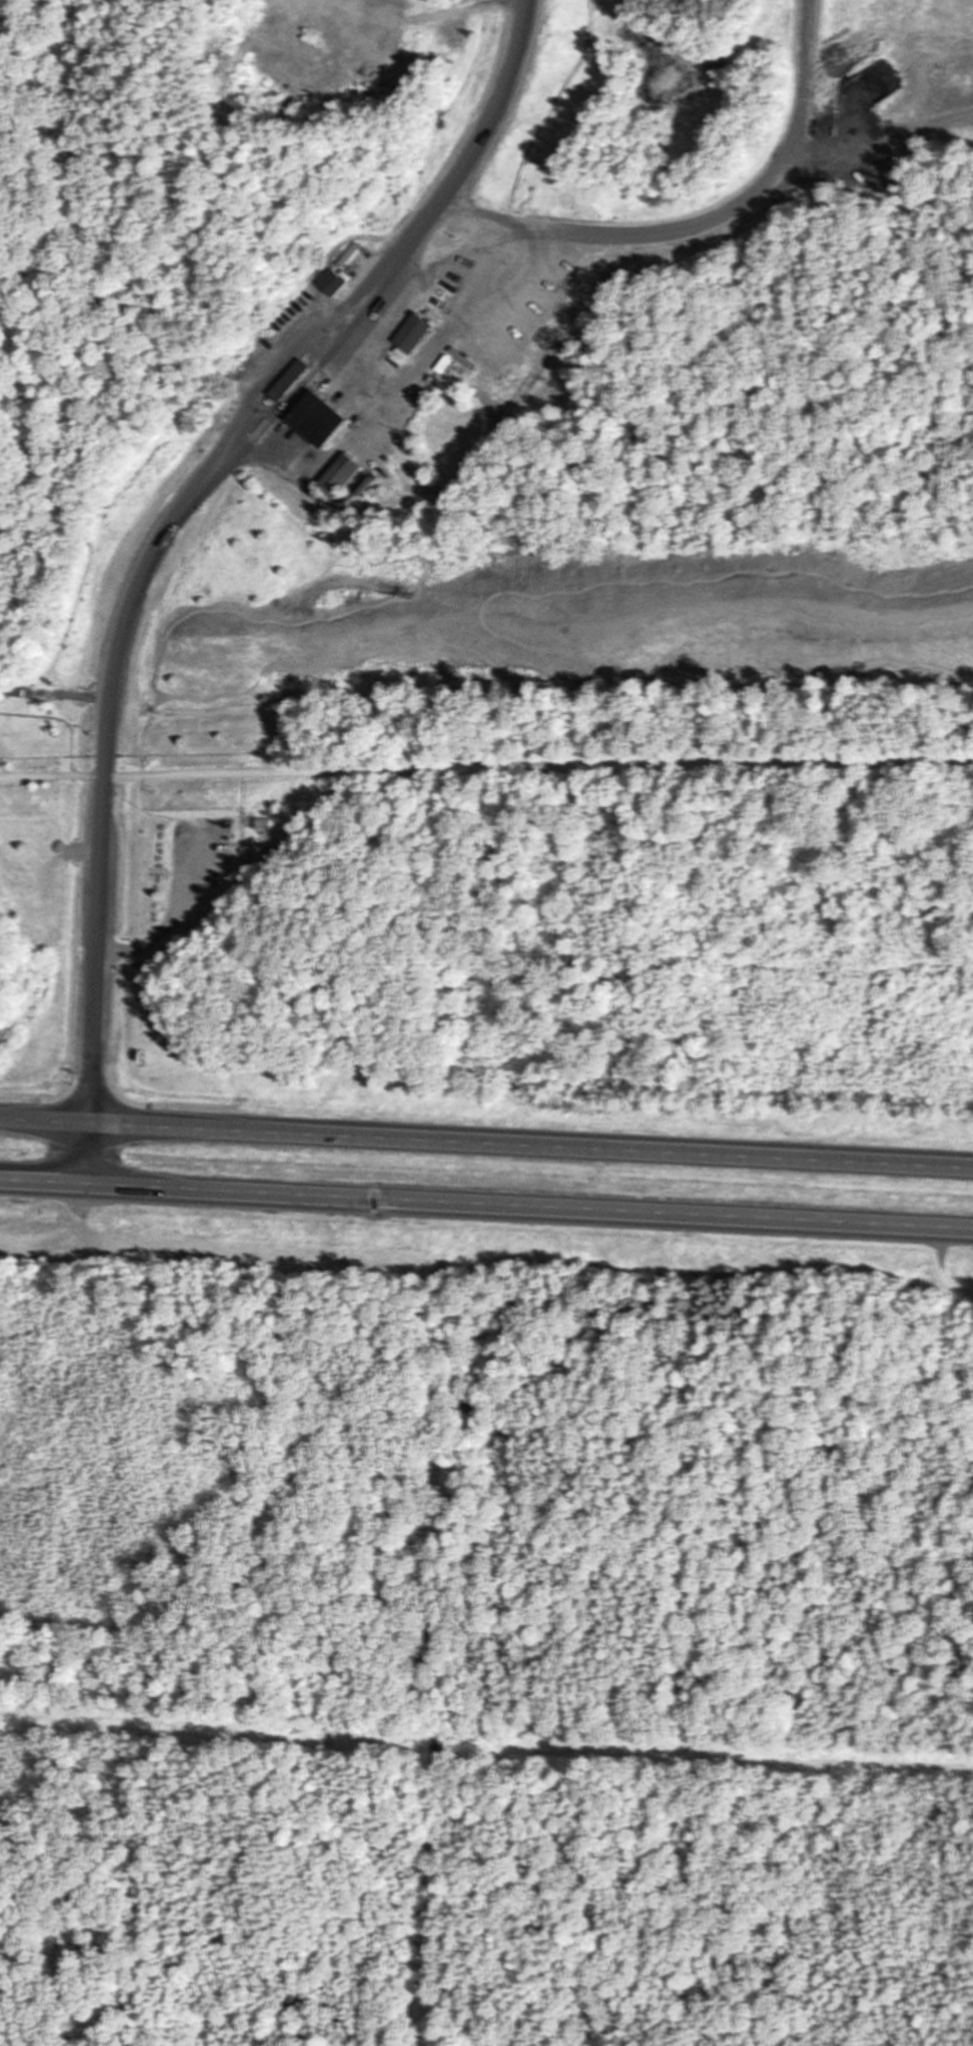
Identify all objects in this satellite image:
road: (487, 214)
road: (649, 234)
road: (407, 243)
building: (334, 283)
building: (418, 332)
landfill: (531, 374)
building: (294, 380)
building: (325, 418)
building: (345, 475)
road: (540, 483)
road: (494, 613)
road: (555, 678)
road: (147, 746)
road: (486, 770)
road: (103, 800)
road: (45, 1122)
road: (531, 1145)
road: (42, 1176)
road: (529, 1200)

